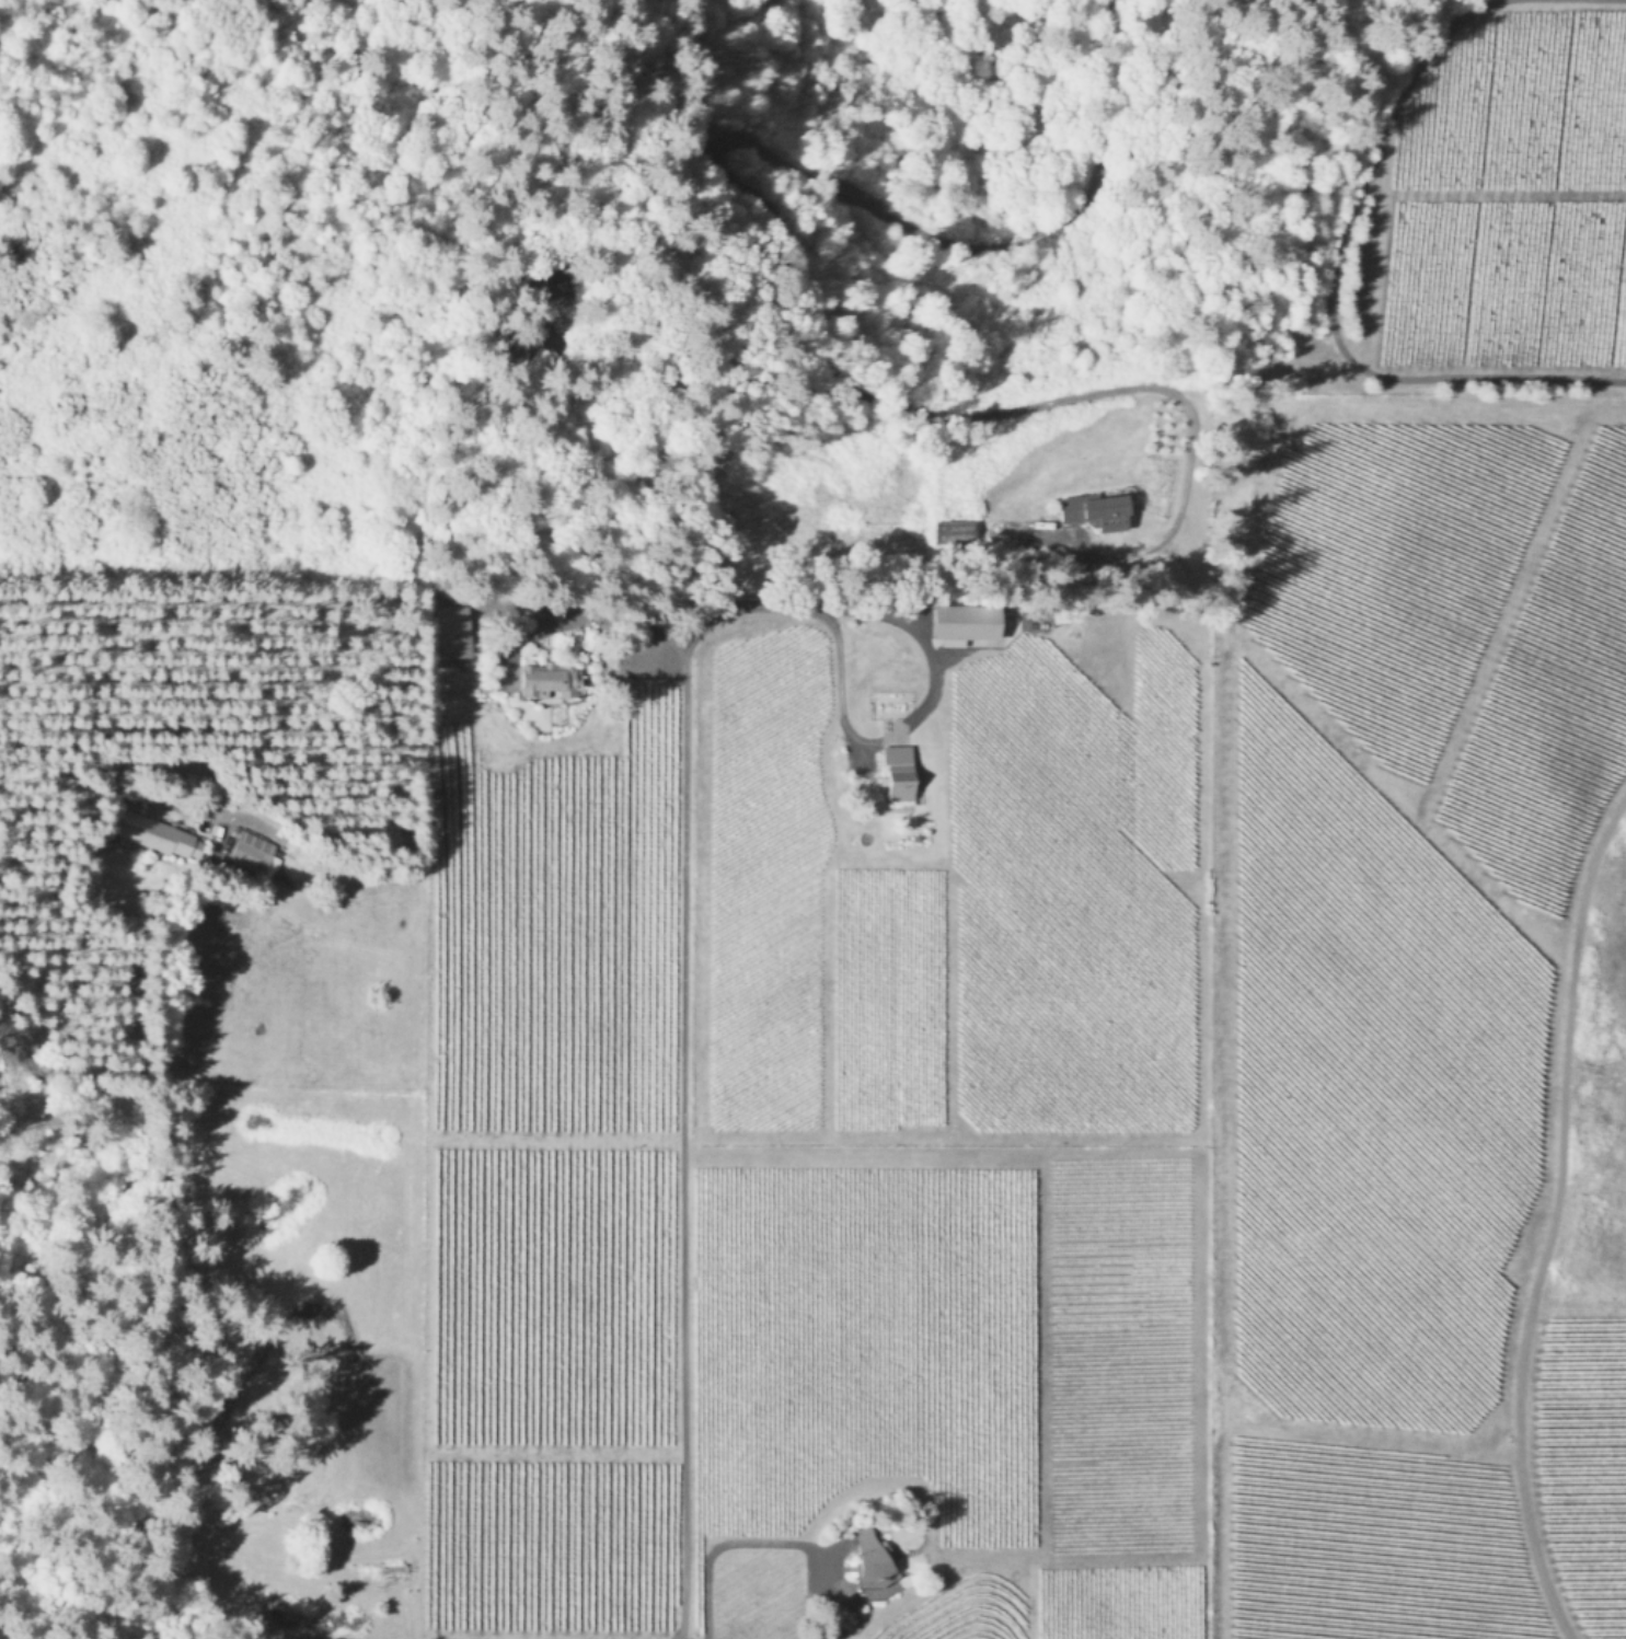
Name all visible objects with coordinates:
road: (780, 235)
building: (1094, 509)
building: (953, 530)
road: (932, 666)
building: (547, 679)
building: (898, 772)
building: (162, 833)
building: (254, 852)
road: (682, 1063)
crop: (1587, 1327)
road: (162, 1364)
road: (769, 1544)
building: (870, 1553)

